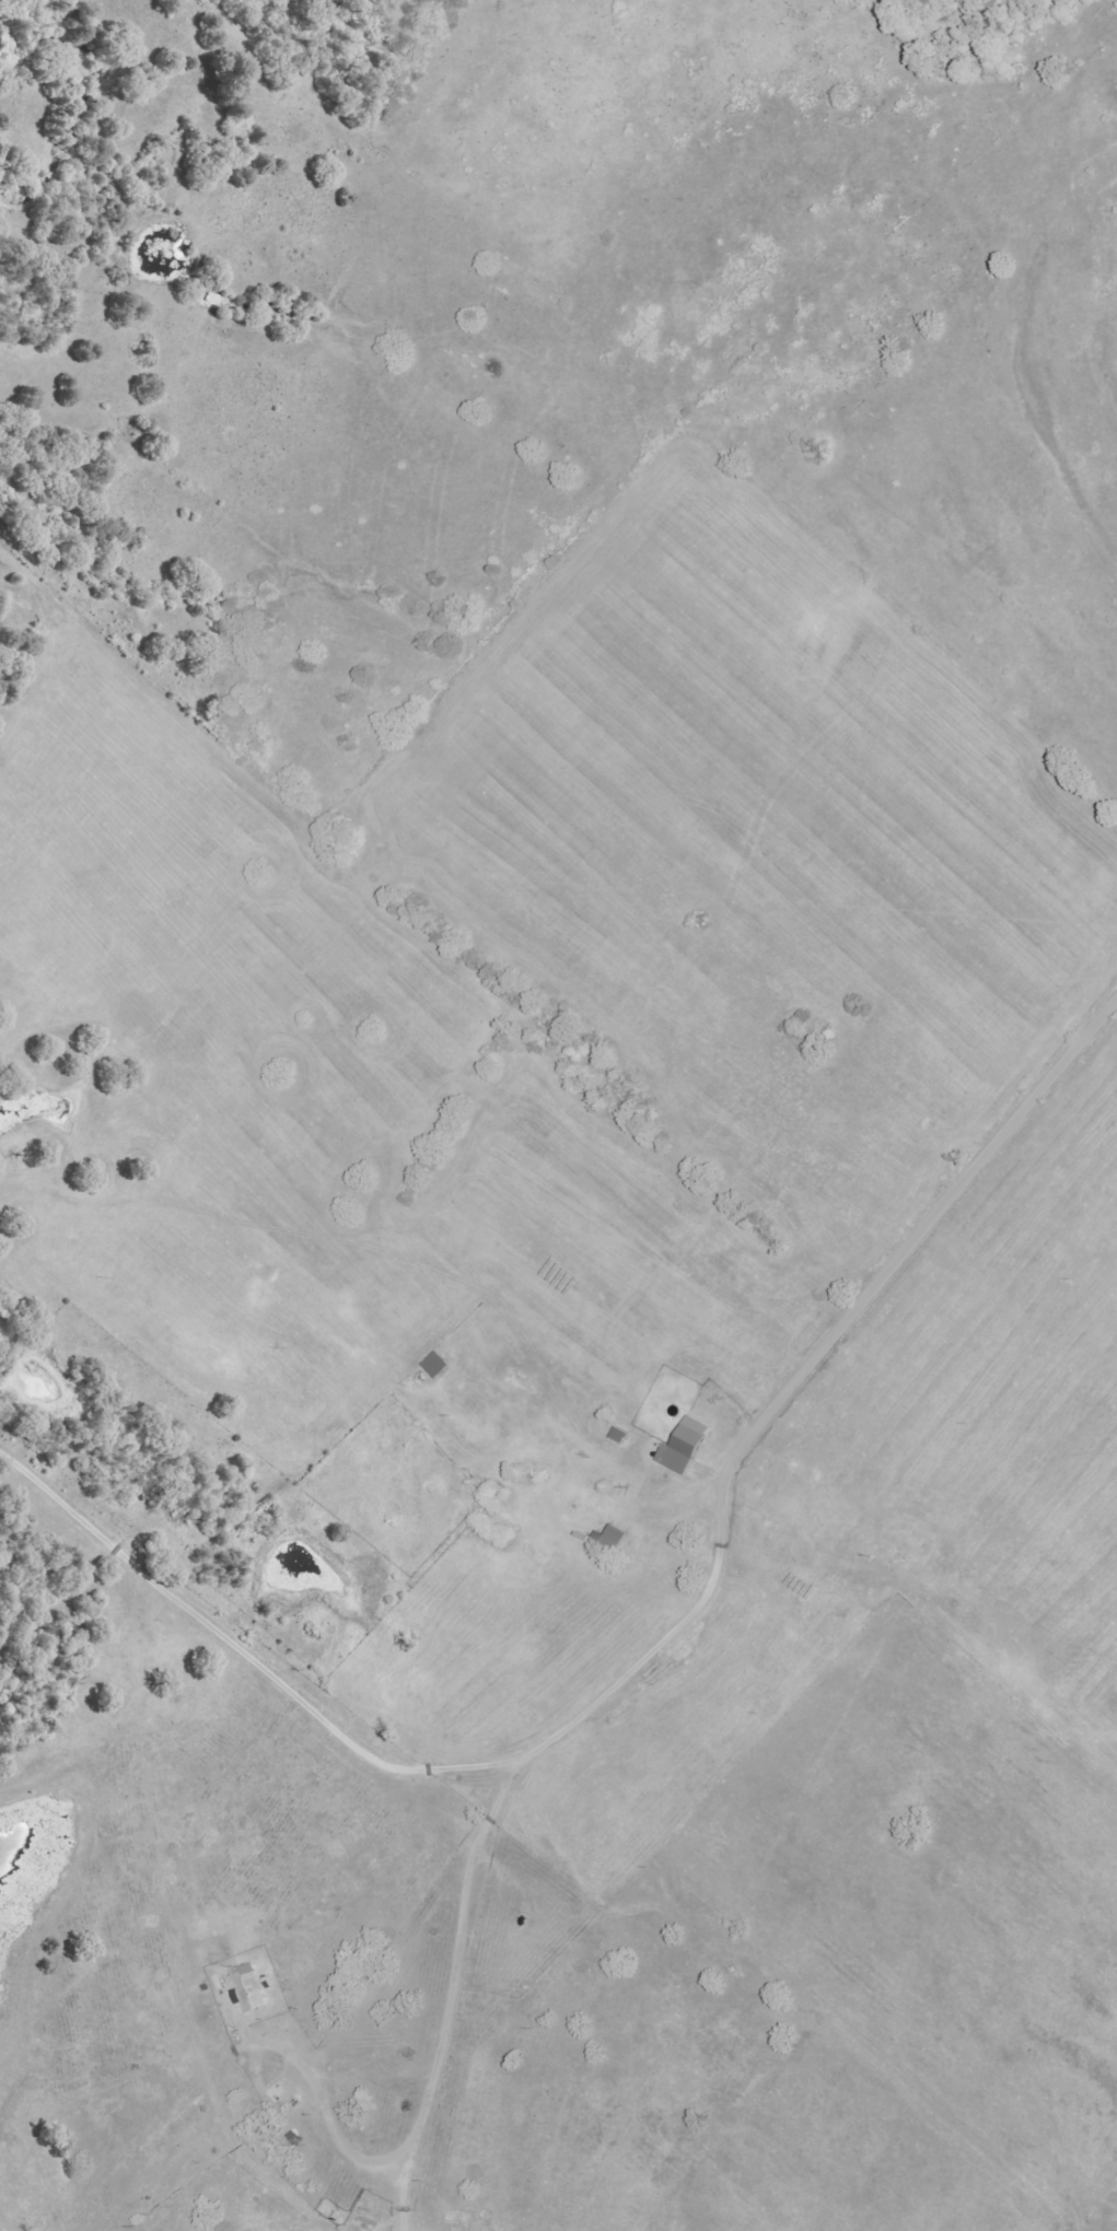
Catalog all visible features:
road: (834, 751)
road: (796, 1374)
building: (687, 1447)
road: (638, 1497)
road: (246, 1650)
building: (253, 1987)
road: (451, 1991)
road: (220, 2053)

